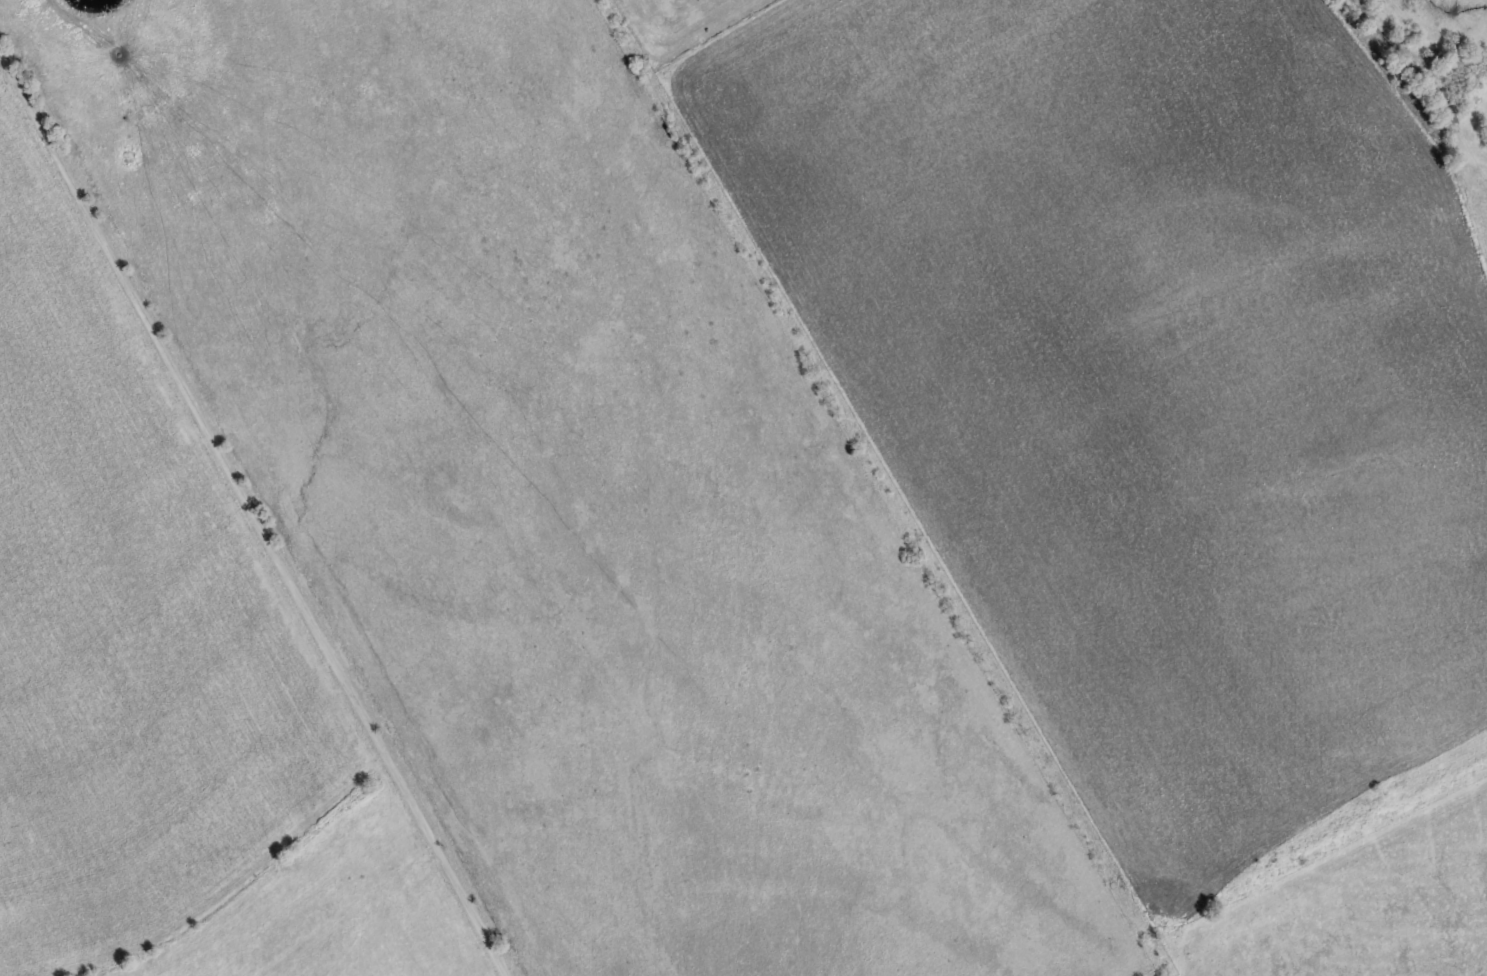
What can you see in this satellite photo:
road: (254, 514)

